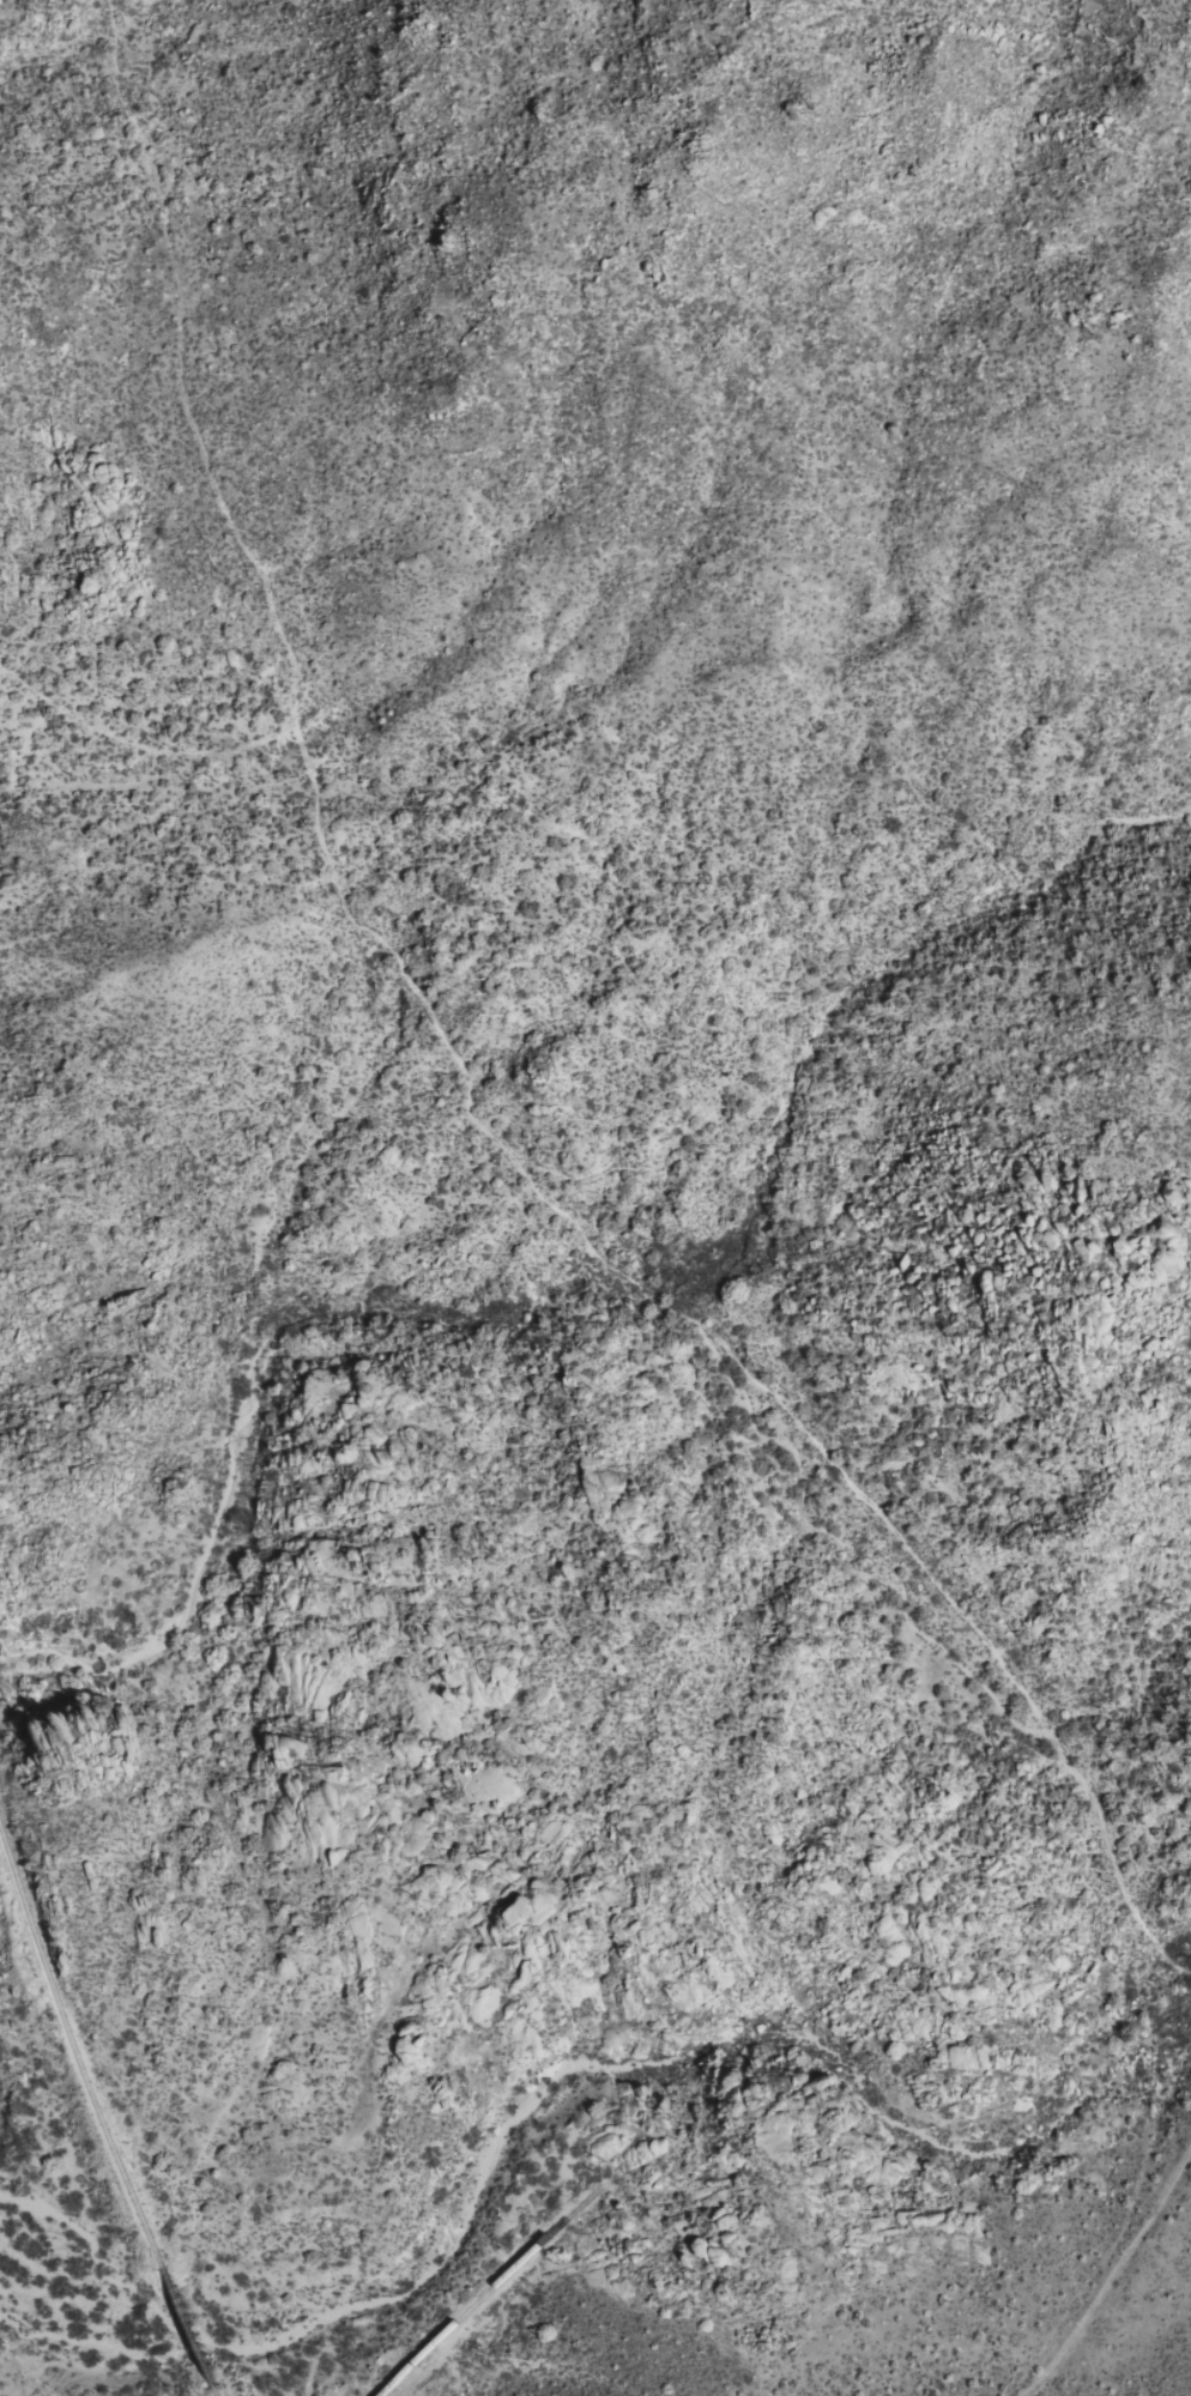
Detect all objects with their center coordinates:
road: (137, 745)
road: (459, 1093)
railway: (75, 2061)
road: (103, 2112)
road: (1108, 2270)
railway: (472, 2305)
railway: (186, 2328)
railway: (213, 2391)

